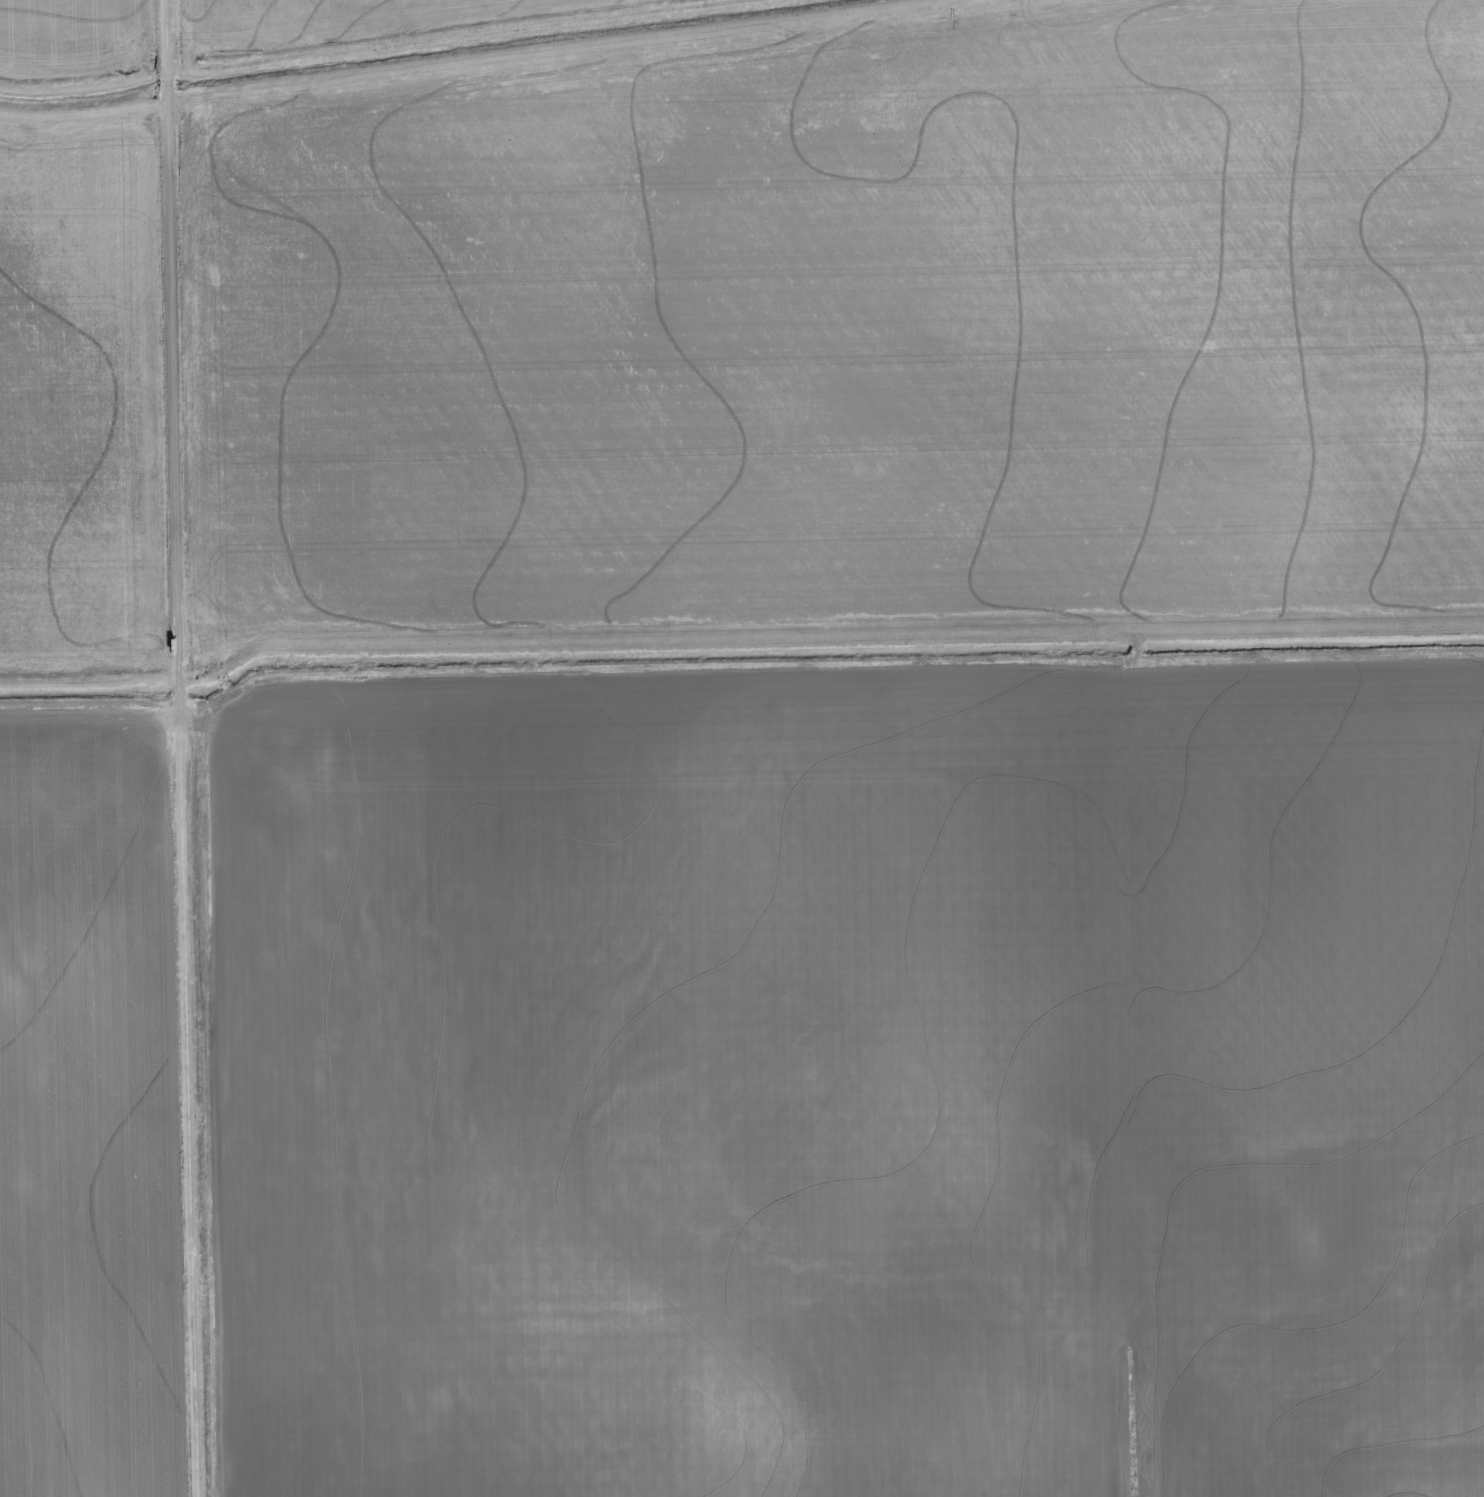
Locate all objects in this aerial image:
road: (192, 748)

